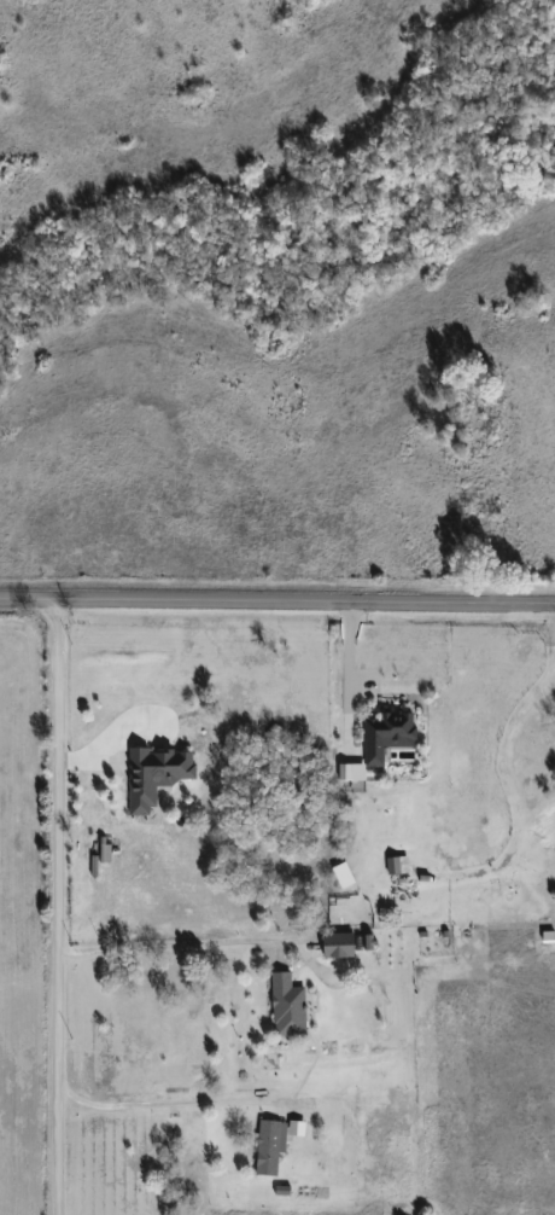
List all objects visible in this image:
road: (277, 616)
road: (349, 685)
building: (384, 733)
building: (153, 775)
building: (396, 865)
road: (55, 914)
building: (335, 944)
road: (160, 947)
building: (286, 1006)
road: (165, 1105)
building: (270, 1145)

